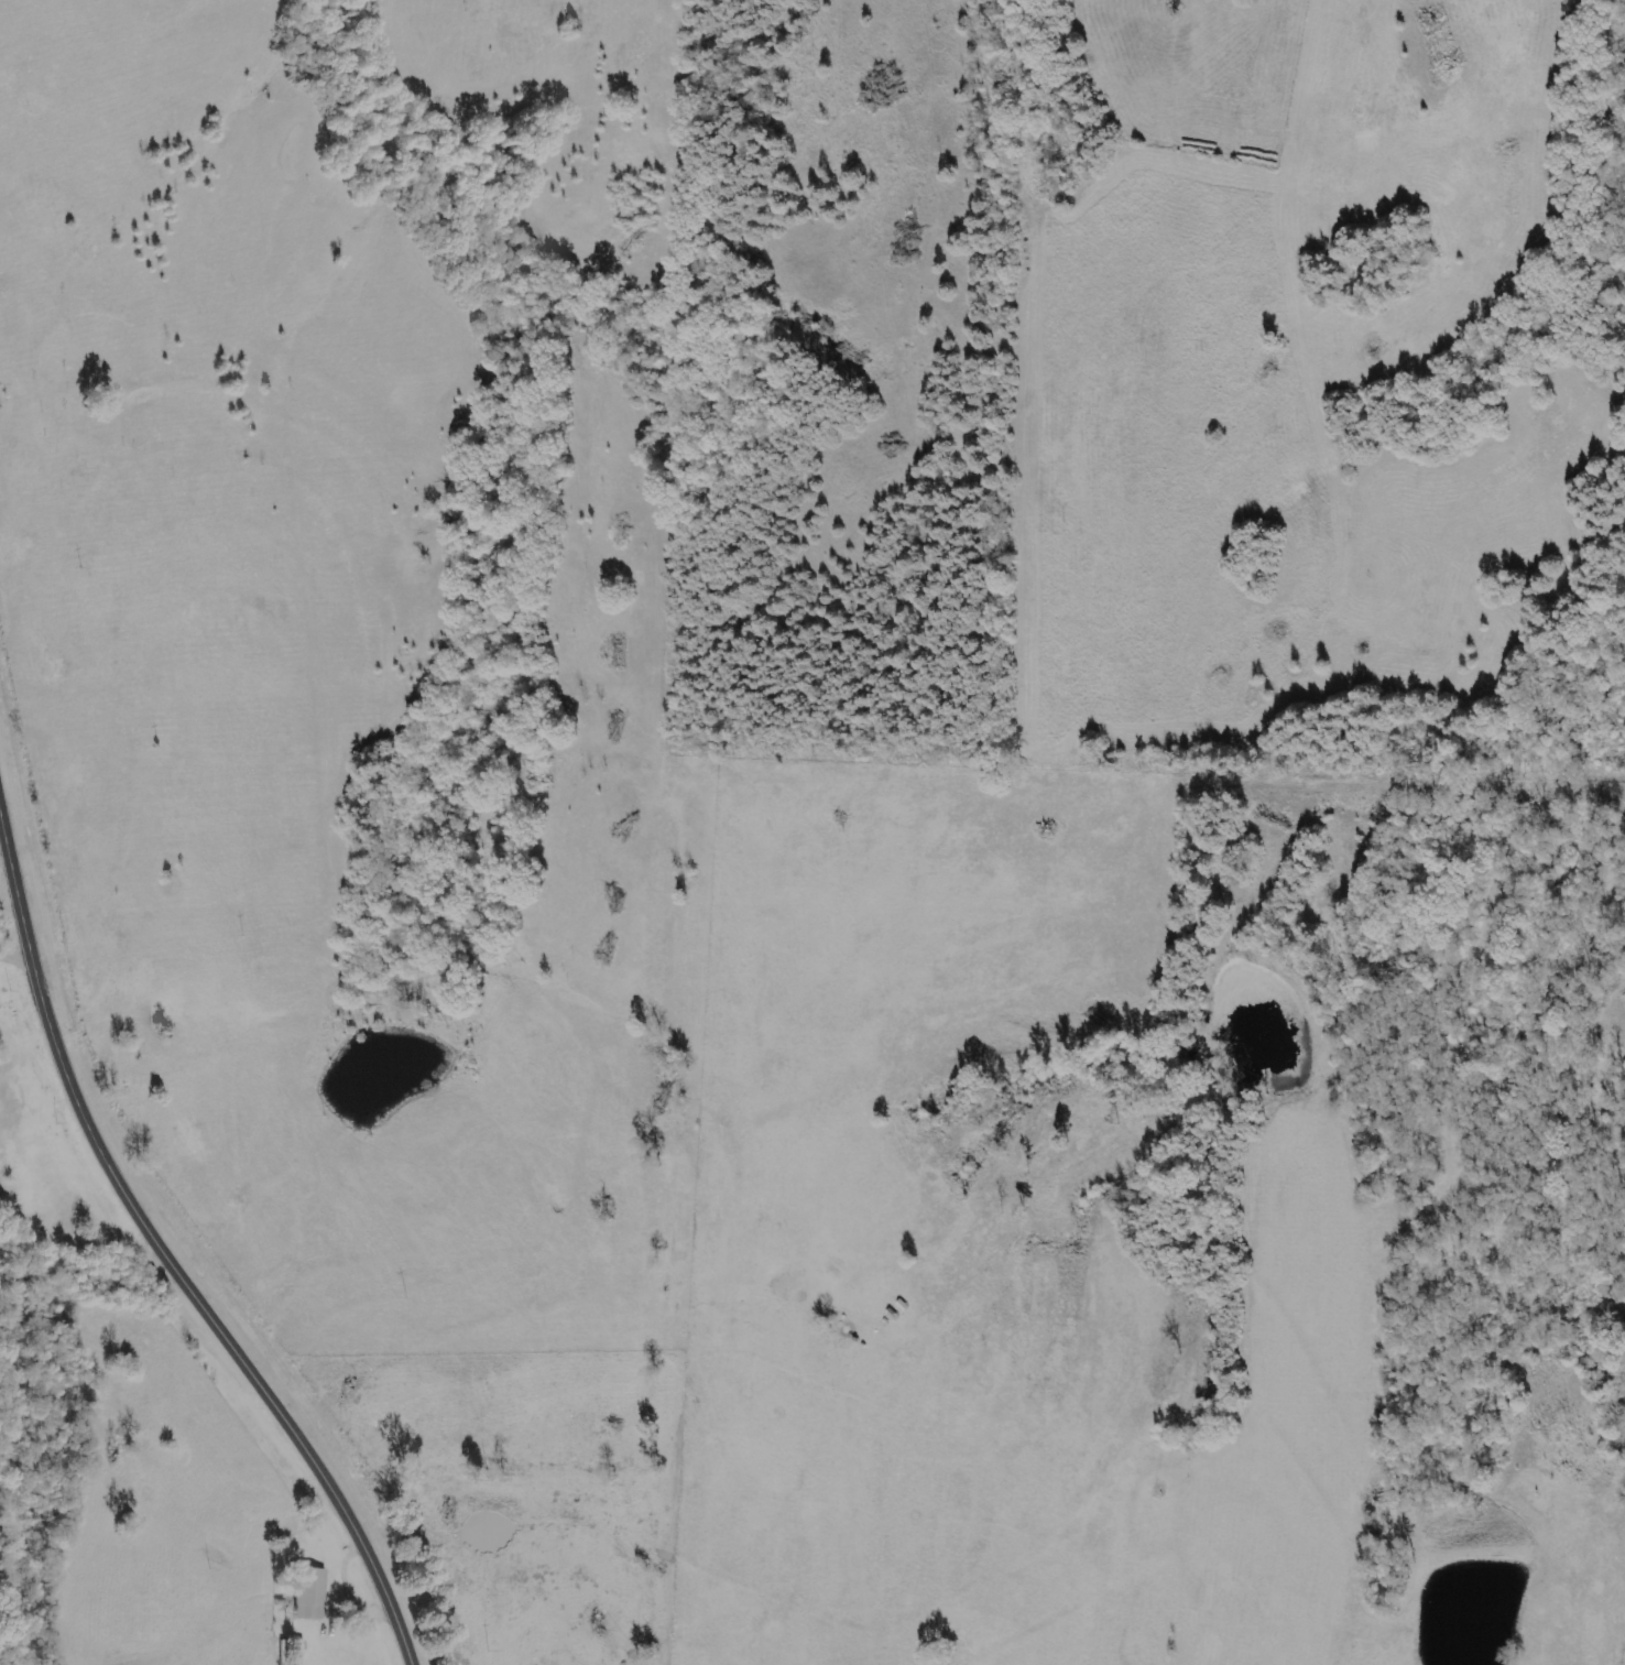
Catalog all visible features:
road: (19, 959)
road: (164, 1242)
building: (308, 1593)

